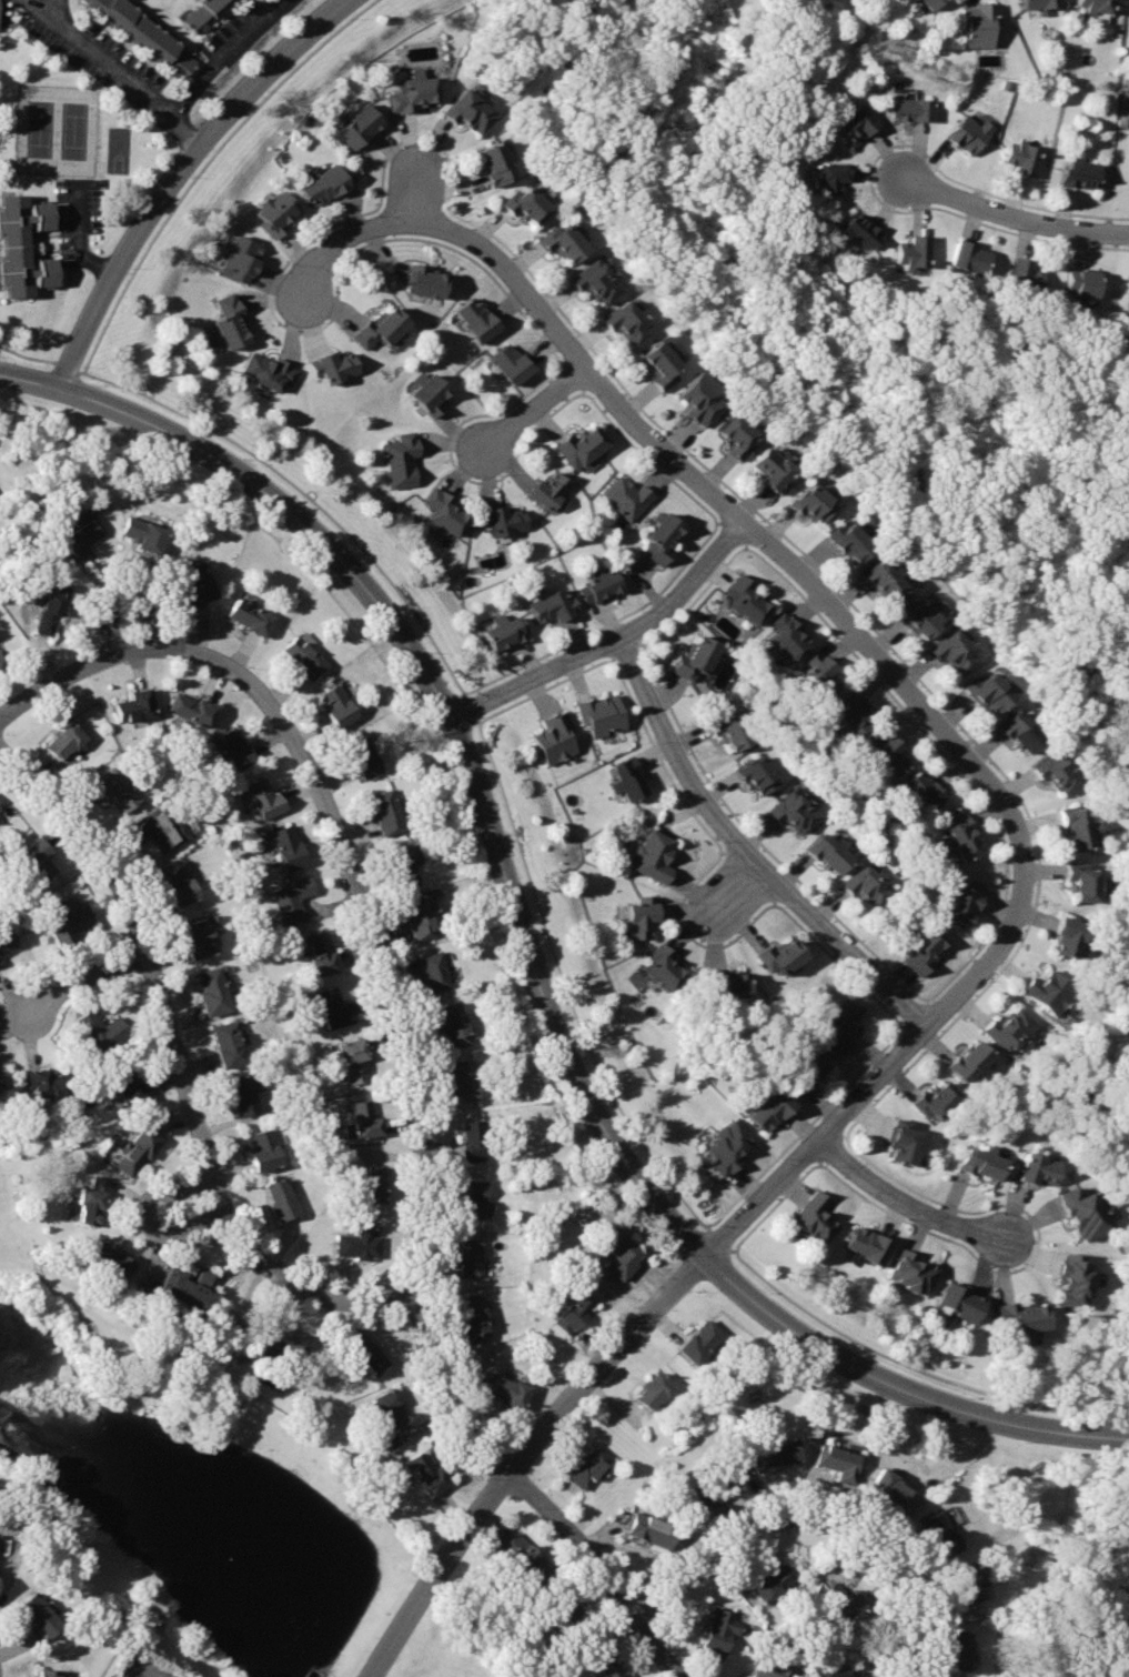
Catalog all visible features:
road: (52, 2)
building: (930, 2)
building: (1042, 4)
building: (1095, 8)
building: (205, 13)
building: (979, 22)
building: (148, 36)
road: (224, 51)
road: (128, 67)
building: (410, 93)
building: (914, 108)
building: (470, 109)
building: (856, 123)
building: (357, 127)
park: (57, 130)
building: (971, 132)
building: (1024, 155)
building: (497, 162)
road: (183, 173)
building: (1080, 174)
building: (831, 175)
building: (323, 184)
road: (420, 195)
building: (527, 203)
building: (275, 214)
road: (1014, 217)
building: (860, 230)
road: (78, 242)
building: (563, 242)
building: (22, 247)
building: (913, 250)
building: (968, 255)
building: (242, 259)
building: (1022, 274)
building: (425, 280)
building: (1081, 280)
building: (598, 281)
building: (1127, 288)
building: (477, 319)
building: (232, 321)
building: (628, 322)
building: (383, 329)
road: (29, 352)
road: (72, 362)
building: (513, 363)
building: (661, 363)
building: (335, 366)
building: (271, 371)
road: (34, 380)
building: (431, 394)
building: (702, 398)
road: (541, 406)
road: (652, 434)
building: (735, 435)
building: (583, 446)
building: (402, 459)
road: (255, 460)
building: (775, 469)
building: (552, 491)
building: (628, 494)
building: (815, 502)
building: (444, 513)
building: (504, 520)
building: (145, 529)
building: (80, 533)
building: (664, 538)
building: (851, 539)
building: (193, 578)
building: (886, 578)
road: (122, 584)
building: (601, 585)
building: (745, 598)
building: (49, 602)
building: (554, 605)
building: (251, 612)
building: (923, 616)
building: (505, 630)
building: (789, 636)
road: (613, 640)
road: (431, 641)
building: (956, 651)
building: (301, 652)
building: (697, 659)
road: (90, 664)
building: (823, 675)
building: (991, 694)
building: (133, 699)
building: (337, 701)
road: (474, 702)
building: (191, 704)
building: (855, 711)
building: (603, 714)
building: (732, 731)
building: (1024, 732)
building: (63, 734)
building: (554, 736)
building: (233, 743)
building: (889, 751)
building: (362, 754)
road: (468, 756)
building: (1058, 772)
building: (759, 774)
building: (632, 779)
building: (115, 785)
building: (927, 790)
building: (262, 793)
building: (384, 806)
building: (795, 810)
building: (163, 823)
building: (1077, 827)
building: (965, 834)
building: (286, 842)
building: (831, 850)
road: (753, 851)
building: (36, 854)
building: (656, 854)
building: (404, 857)
building: (1085, 878)
building: (180, 881)
building: (866, 885)
road: (743, 887)
building: (294, 894)
building: (964, 901)
building: (421, 911)
building: (643, 916)
building: (67, 921)
road: (548, 933)
building: (199, 935)
building: (1070, 936)
building: (4, 937)
building: (322, 947)
building: (925, 948)
building: (783, 956)
building: (433, 963)
building: (666, 968)
road: (84, 977)
building: (727, 983)
building: (211, 986)
building: (1049, 991)
building: (332, 1004)
building: (453, 1021)
building: (841, 1023)
building: (101, 1024)
building: (1009, 1031)
road: (926, 1034)
road: (399, 1041)
building: (228, 1042)
building: (350, 1055)
building: (970, 1063)
road: (181, 1066)
building: (808, 1071)
building: (47, 1074)
building: (463, 1074)
building: (1, 1079)
building: (128, 1082)
building: (242, 1089)
building: (936, 1099)
building: (769, 1109)
building: (362, 1116)
building: (475, 1135)
building: (905, 1139)
building: (263, 1142)
building: (140, 1146)
building: (727, 1147)
building: (982, 1163)
building: (1036, 1169)
building: (370, 1181)
road: (672, 1184)
building: (474, 1193)
building: (283, 1194)
building: (90, 1196)
road: (911, 1203)
building: (1086, 1213)
road: (149, 1217)
building: (814, 1217)
road: (719, 1234)
building: (354, 1238)
building: (869, 1245)
building: (470, 1251)
building: (109, 1255)
building: (624, 1255)
road: (763, 1273)
building: (914, 1273)
building: (1076, 1277)
building: (185, 1285)
building: (961, 1301)
building: (473, 1313)
building: (575, 1313)
building: (1021, 1316)
building: (283, 1332)
road: (875, 1340)
building: (702, 1342)
building: (365, 1349)
building: (506, 1385)
road: (899, 1387)
building: (654, 1392)
road: (1042, 1396)
building: (387, 1404)
building: (780, 1454)
road: (521, 1455)
building: (840, 1462)
building: (589, 1465)
building: (424, 1467)
building: (717, 1487)
building: (894, 1490)
road: (815, 1517)
building: (651, 1529)
building: (941, 1533)
building: (525, 1556)
road: (602, 1567)
building: (772, 1581)
building: (965, 1583)
building: (843, 1598)
building: (563, 1601)
building: (38, 1615)
building: (720, 1629)
building: (958, 1649)
building: (604, 1660)
park: (142, 1667)
building: (773, 1668)
building: (46, 1673)
building: (830, 1673)

